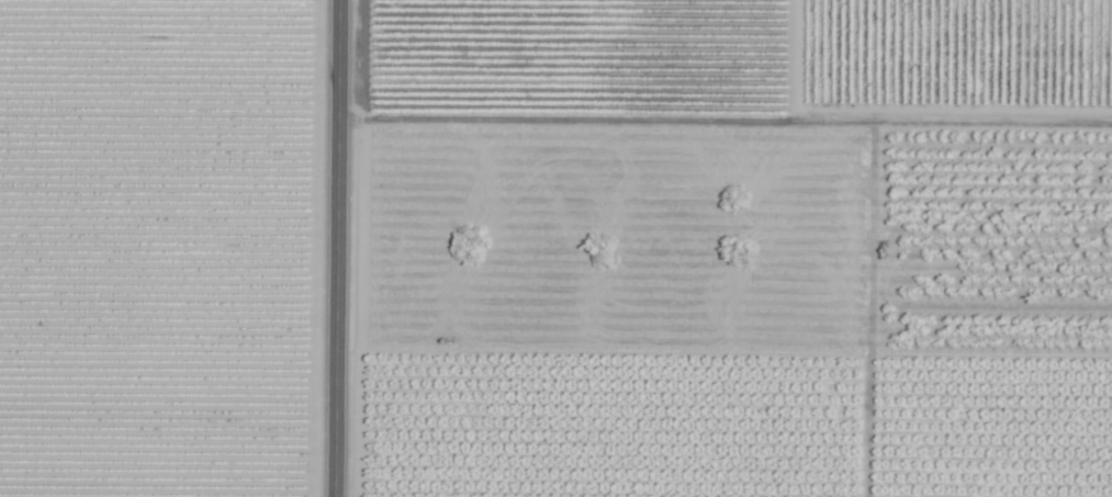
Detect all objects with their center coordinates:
road: (337, 248)

